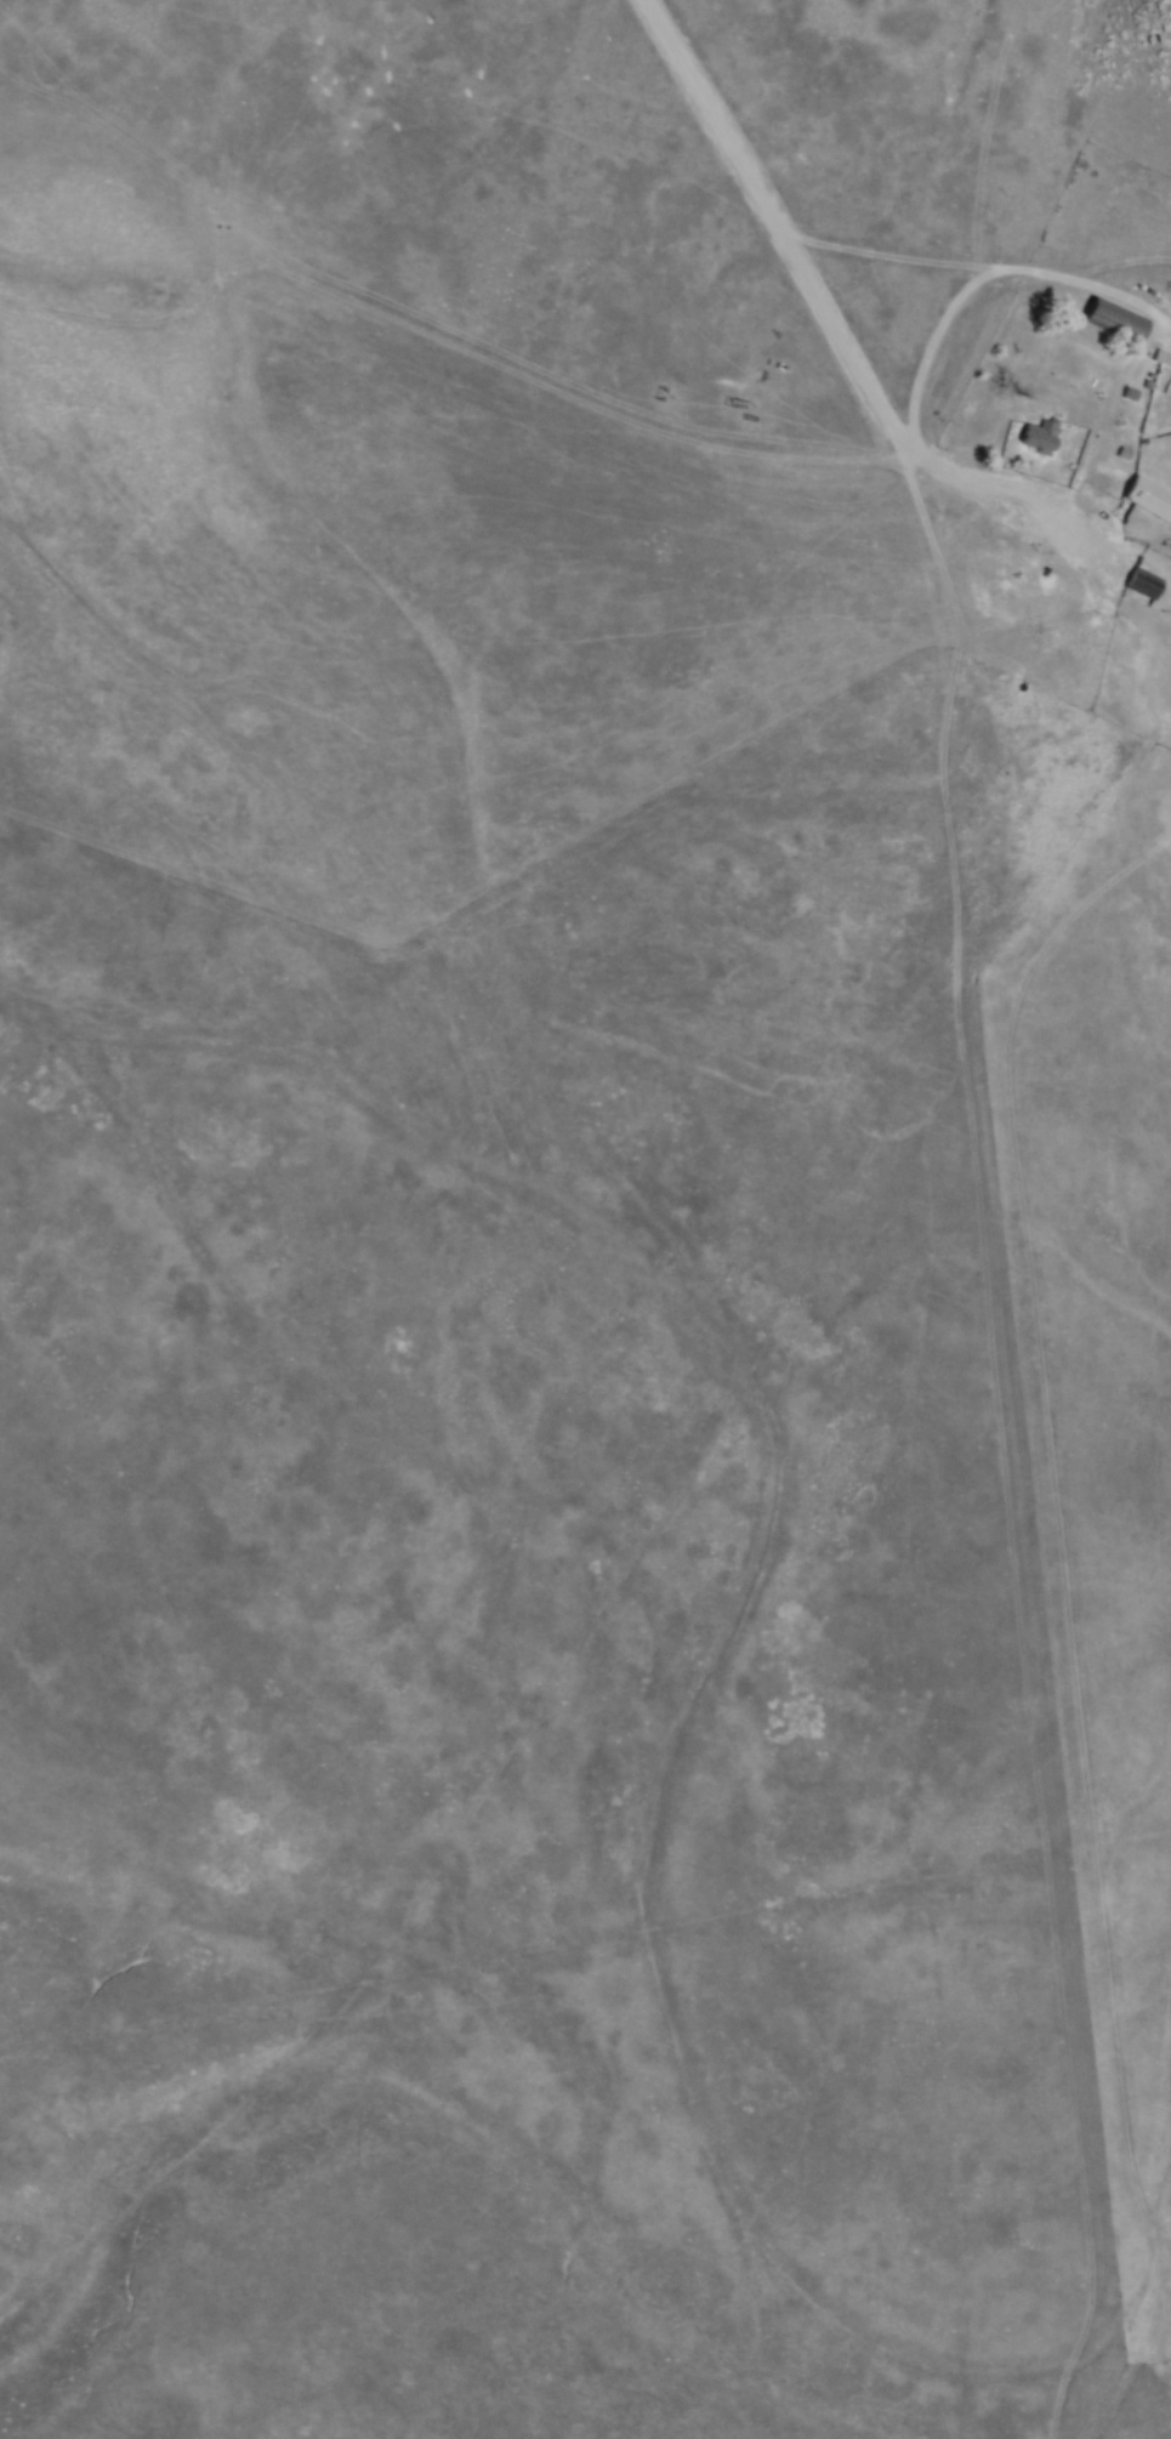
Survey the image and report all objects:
road: (915, 257)
road: (987, 277)
road: (836, 313)
building: (1122, 315)
building: (1166, 354)
building: (1048, 437)
building: (1152, 496)
building: (1152, 584)

